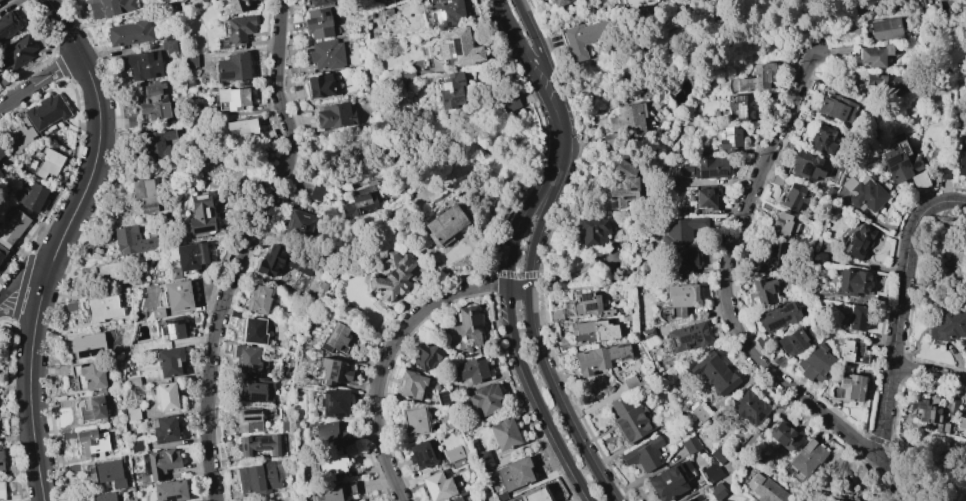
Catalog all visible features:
building: (0, 0)
building: (319, 2)
park: (961, 2)
building: (557, 3)
building: (633, 3)
building: (238, 6)
building: (108, 7)
road: (950, 7)
building: (447, 13)
road: (522, 13)
building: (318, 23)
building: (9, 25)
road: (66, 27)
road: (511, 29)
building: (239, 30)
building: (886, 30)
building: (129, 33)
building: (584, 37)
building: (0, 42)
building: (169, 46)
building: (457, 46)
road: (540, 50)
building: (17, 53)
building: (326, 54)
building: (875, 56)
building: (189, 61)
building: (145, 66)
road: (539, 66)
building: (233, 67)
road: (275, 71)
building: (756, 77)
building: (3, 79)
road: (536, 79)
road: (40, 80)
building: (882, 80)
building: (189, 82)
building: (321, 85)
building: (451, 90)
road: (556, 91)
building: (227, 98)
building: (154, 101)
building: (509, 102)
building: (655, 103)
building: (744, 107)
building: (837, 108)
road: (550, 109)
building: (47, 112)
building: (333, 115)
road: (564, 119)
building: (133, 120)
building: (625, 123)
building: (241, 126)
building: (267, 135)
building: (19, 136)
building: (730, 138)
building: (824, 139)
building: (159, 143)
building: (2, 152)
building: (899, 162)
building: (50, 163)
building: (961, 163)
road: (288, 166)
building: (806, 166)
building: (711, 167)
building: (1, 174)
road: (86, 180)
building: (918, 181)
building: (629, 182)
building: (318, 192)
building: (864, 193)
building: (144, 195)
building: (794, 196)
building: (32, 197)
building: (705, 198)
building: (357, 205)
building: (200, 214)
building: (300, 223)
building: (783, 224)
building: (444, 225)
road: (914, 226)
building: (12, 229)
building: (681, 230)
building: (594, 232)
building: (131, 240)
building: (859, 241)
building: (2, 252)
building: (775, 253)
building: (191, 255)
building: (818, 257)
building: (686, 260)
park: (943, 260)
building: (280, 262)
building: (0, 264)
building: (111, 273)
building: (393, 276)
road: (725, 279)
building: (853, 281)
road: (625, 286)
road: (517, 289)
building: (763, 289)
building: (319, 292)
building: (177, 295)
road: (16, 296)
building: (258, 299)
building: (678, 301)
building: (589, 305)
building: (102, 309)
building: (157, 312)
road: (509, 313)
building: (555, 315)
building: (779, 316)
building: (859, 317)
road: (530, 322)
building: (434, 324)
building: (469, 324)
building: (947, 326)
building: (173, 328)
building: (252, 330)
building: (593, 330)
building: (647, 333)
building: (688, 337)
building: (335, 338)
road: (213, 339)
building: (794, 341)
building: (88, 345)
building: (852, 352)
road: (385, 355)
building: (426, 355)
building: (600, 358)
building: (247, 359)
building: (169, 362)
building: (815, 362)
road: (890, 369)
building: (473, 370)
building: (334, 371)
building: (715, 373)
road: (928, 373)
building: (87, 377)
building: (132, 382)
building: (411, 384)
building: (852, 387)
building: (256, 389)
building: (165, 396)
building: (443, 398)
building: (485, 399)
road: (28, 400)
building: (334, 402)
building: (750, 407)
building: (91, 408)
building: (950, 408)
building: (699, 412)
building: (132, 413)
building: (928, 414)
building: (671, 417)
building: (247, 419)
building: (628, 419)
building: (414, 420)
building: (447, 421)
building: (961, 422)
building: (284, 425)
building: (165, 429)
building: (329, 431)
building: (504, 434)
building: (784, 434)
building: (92, 442)
building: (691, 444)
building: (137, 445)
building: (258, 445)
building: (455, 452)
building: (644, 454)
building: (719, 454)
building: (421, 455)
building: (805, 459)
building: (481, 460)
building: (2, 461)
building: (161, 462)
road: (923, 462)
building: (457, 463)
building: (332, 464)
park: (934, 467)
building: (514, 472)
building: (711, 472)
building: (106, 473)
road: (894, 475)
building: (260, 476)
building: (670, 480)
road: (812, 480)
park: (845, 480)
building: (439, 486)
building: (832, 488)
building: (765, 489)
road: (922, 489)
building: (2, 491)
building: (170, 491)
building: (716, 491)
building: (332, 492)
building: (536, 494)
building: (104, 496)
park: (277, 496)
building: (462, 496)
building: (500, 496)
building: (699, 497)
building: (688, 500)
building: (690, 500)
building: (753, 500)

